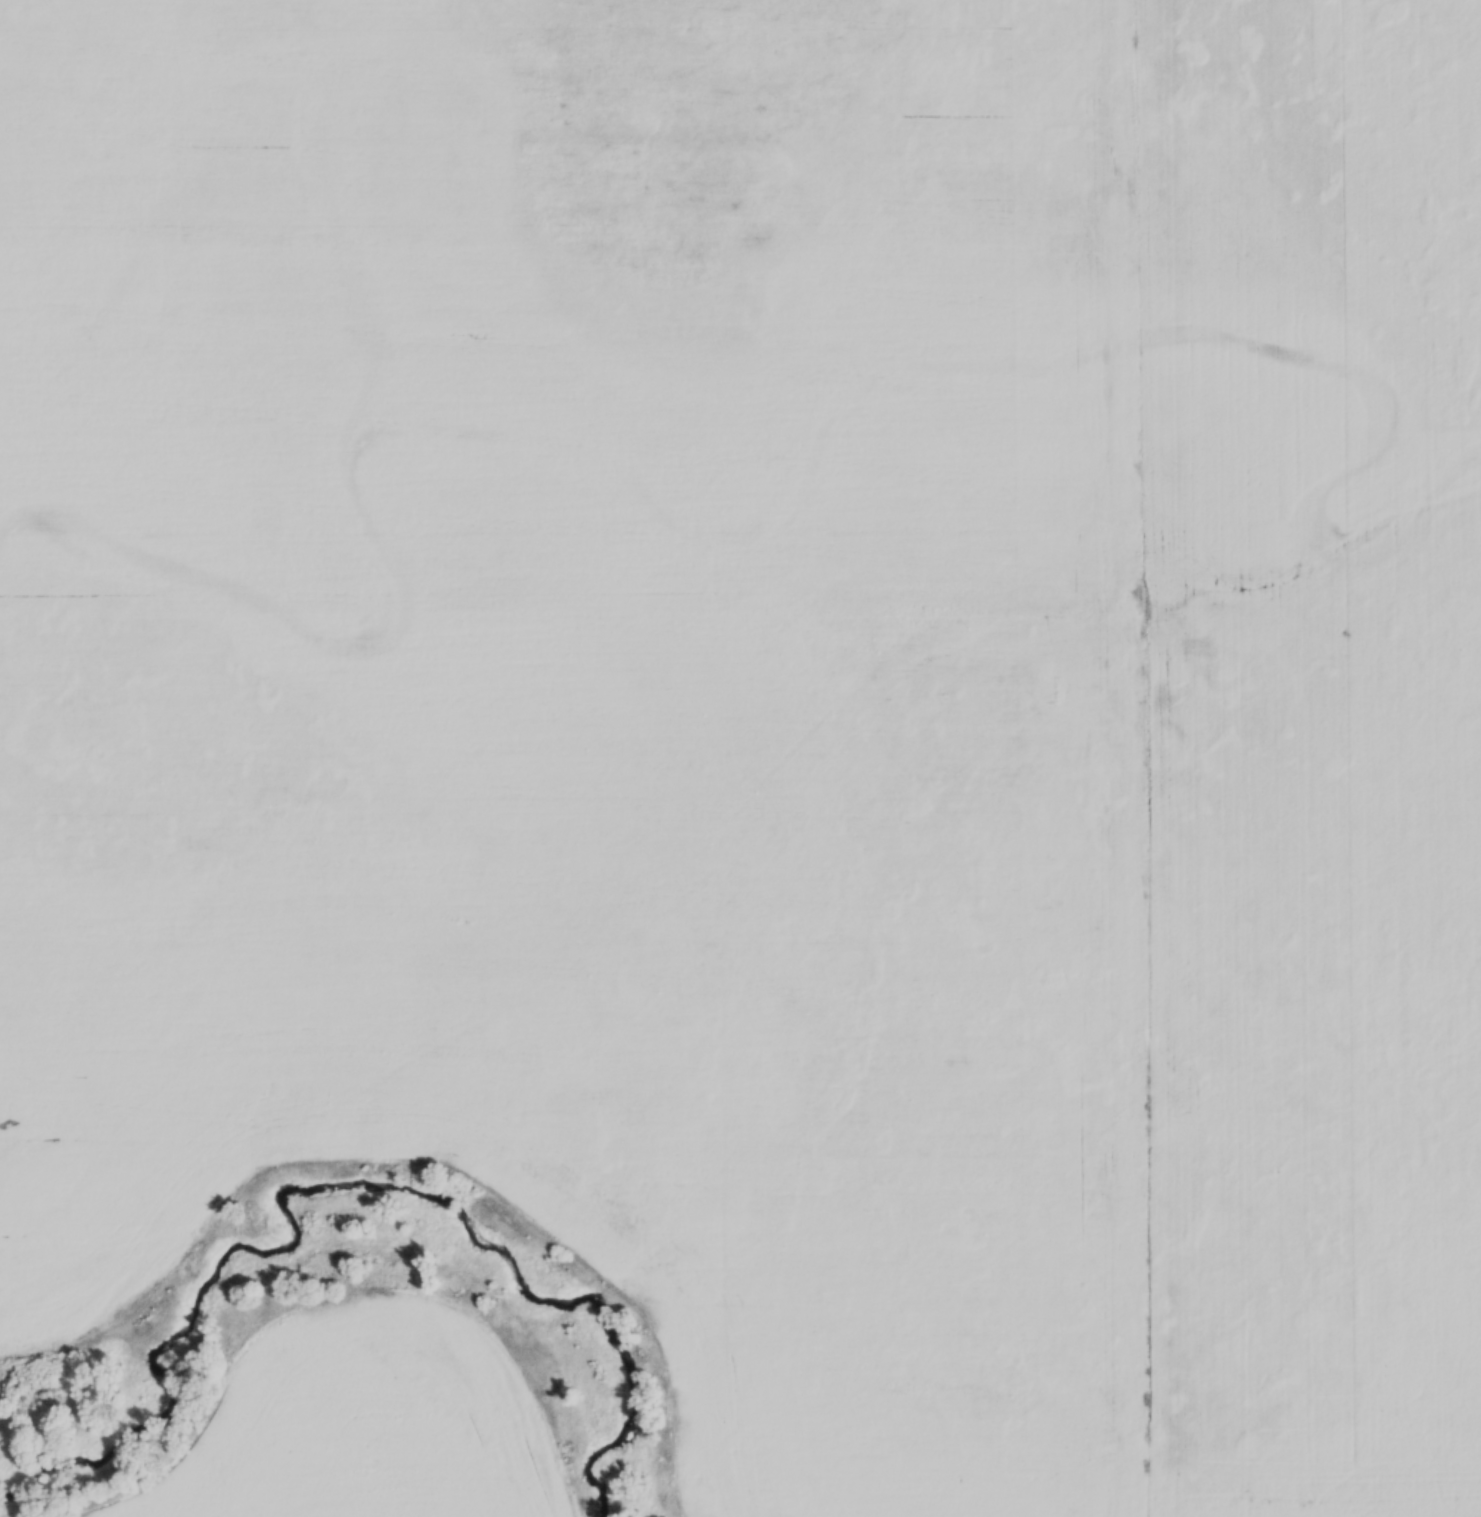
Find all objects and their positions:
river: (334, 1200)

